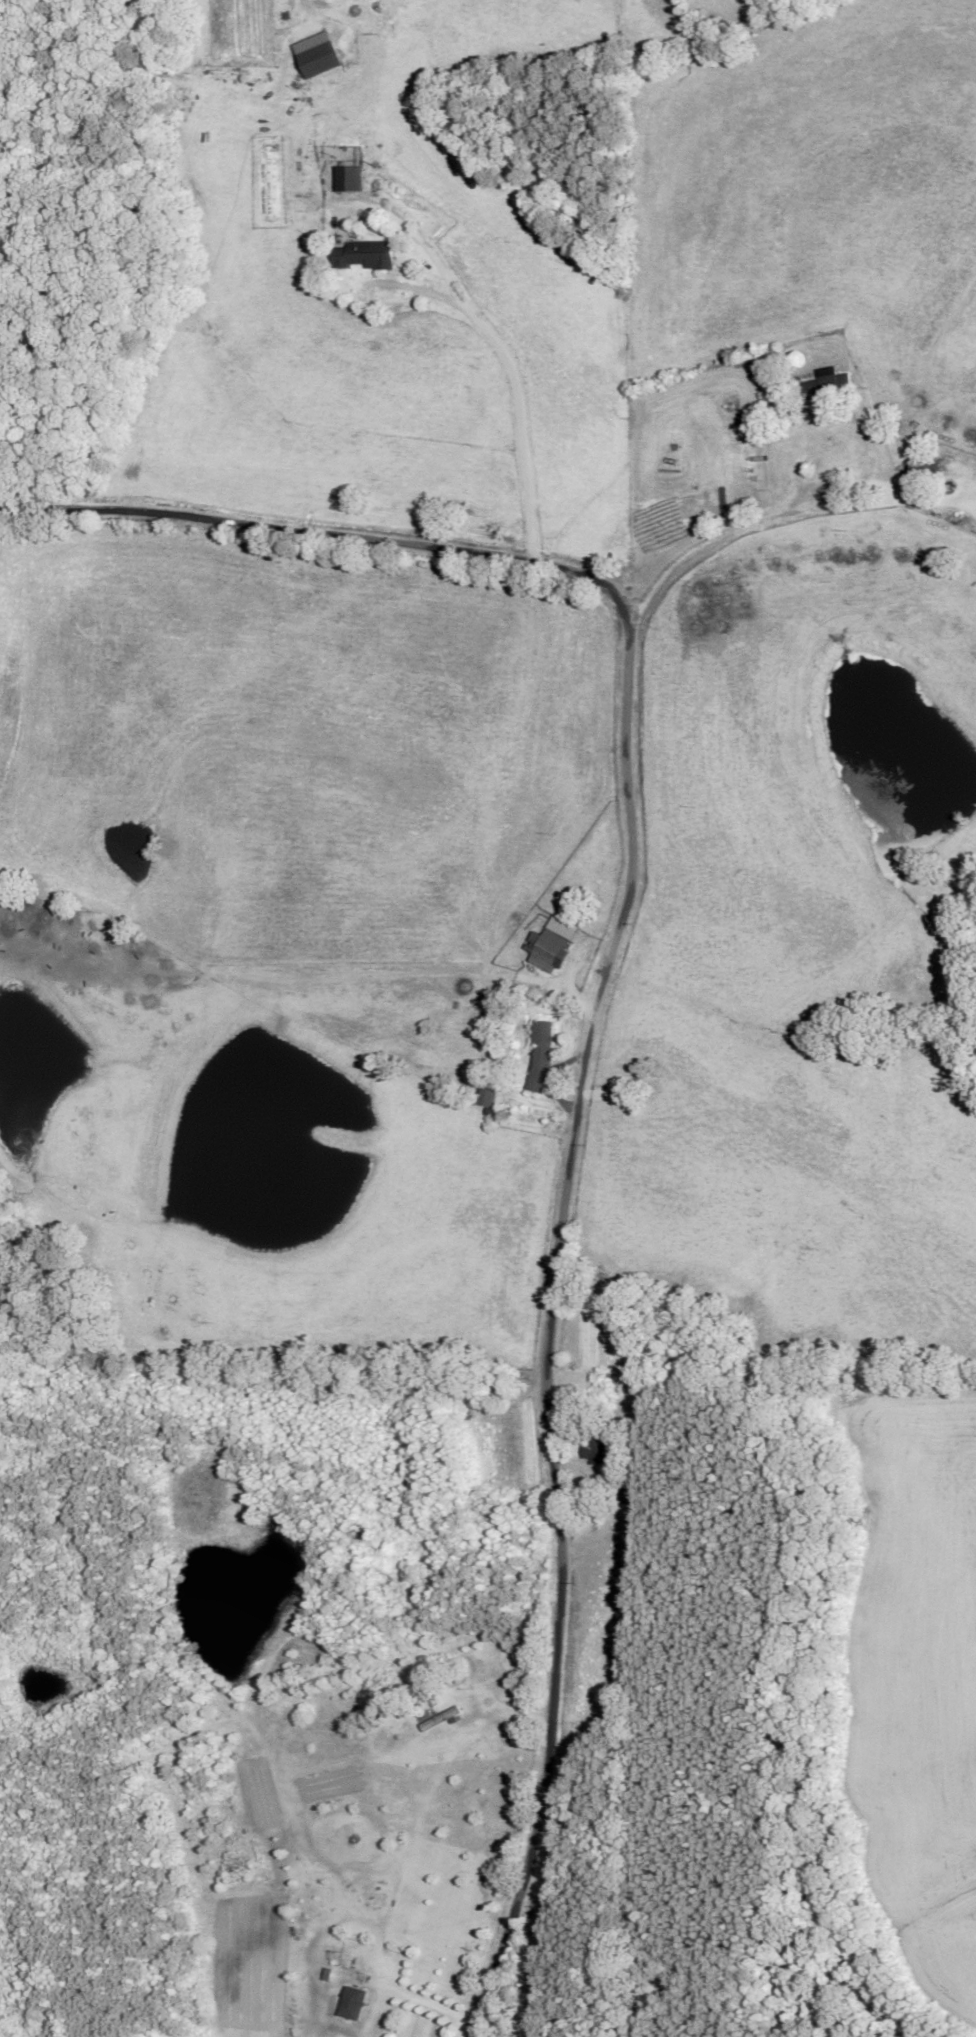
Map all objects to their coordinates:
building: (320, 63)
building: (349, 182)
building: (364, 259)
road: (506, 362)
building: (764, 379)
building: (830, 387)
building: (927, 475)
road: (703, 549)
building: (546, 952)
road: (599, 1006)
building: (541, 1059)
building: (487, 1099)
building: (496, 1395)
building: (599, 1453)
building: (625, 1493)
building: (442, 1723)
road: (407, 1988)
building: (353, 2005)

